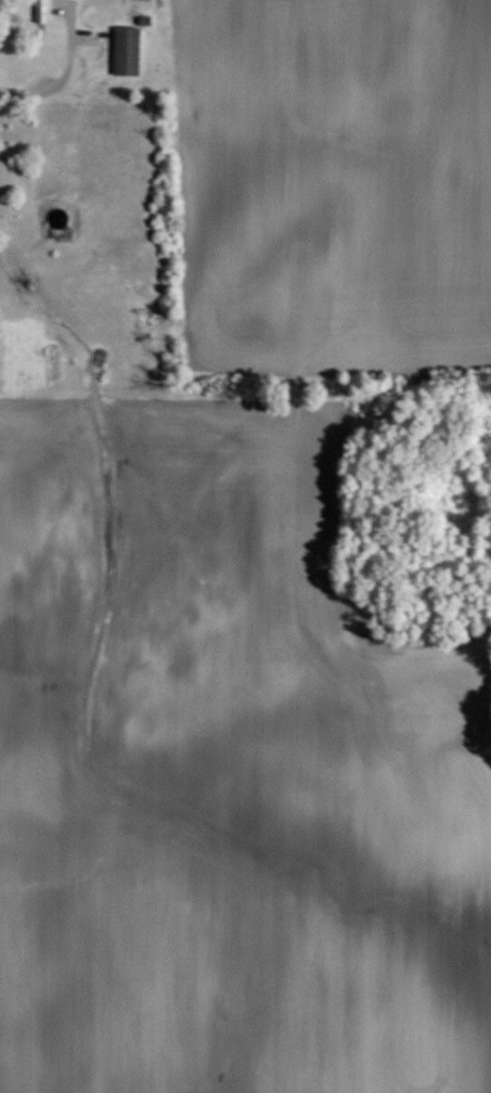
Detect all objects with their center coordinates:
building: (41, 10)
building: (127, 50)
road: (63, 74)

